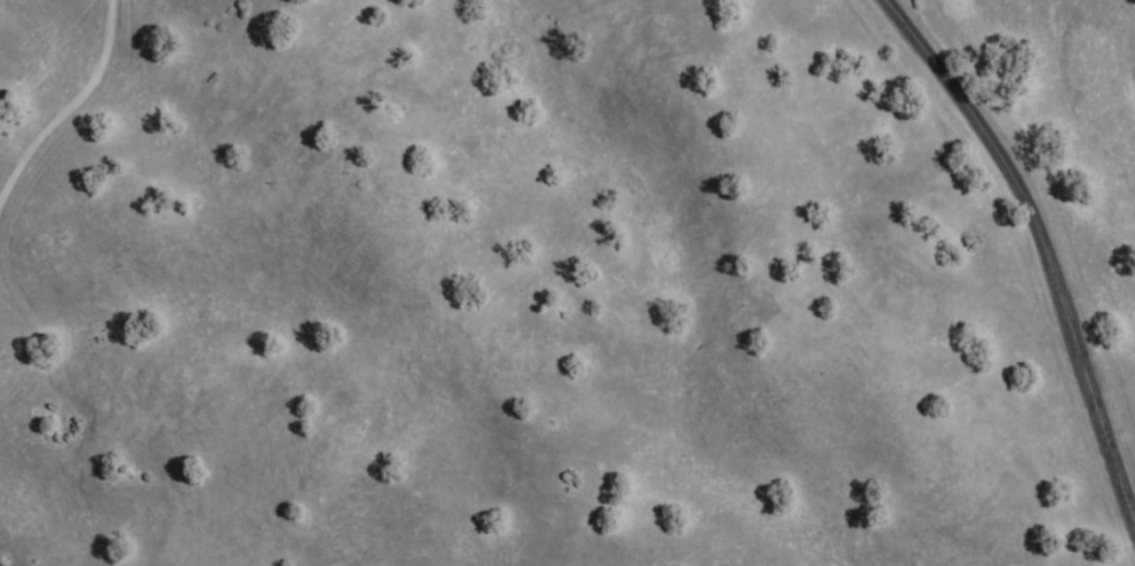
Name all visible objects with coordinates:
road: (1002, 275)

